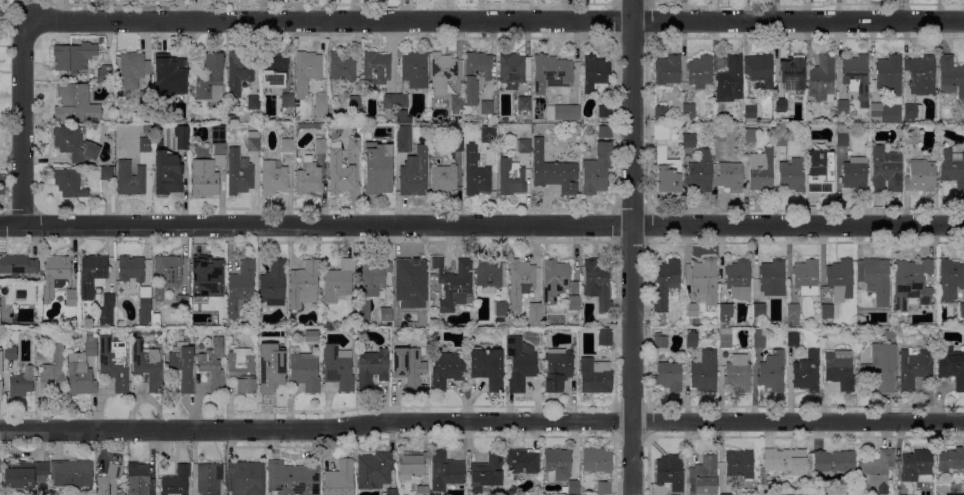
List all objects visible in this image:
building: (5, 10)
road: (495, 20)
building: (73, 56)
building: (341, 67)
building: (376, 68)
building: (133, 69)
building: (274, 69)
building: (414, 69)
building: (668, 69)
building: (514, 70)
building: (306, 71)
building: (700, 71)
building: (760, 71)
building: (239, 72)
building: (443, 72)
building: (103, 73)
building: (551, 73)
building: (792, 74)
building: (855, 74)
building: (889, 74)
building: (921, 74)
building: (476, 75)
building: (596, 75)
building: (177, 76)
building: (951, 76)
building: (211, 79)
building: (822, 79)
building: (731, 80)
building: (389, 100)
building: (401, 100)
building: (145, 101)
building: (286, 101)
building: (253, 103)
building: (456, 104)
building: (75, 105)
building: (320, 105)
building: (781, 105)
building: (487, 107)
building: (842, 107)
building: (523, 108)
building: (605, 111)
building: (661, 111)
building: (688, 111)
building: (750, 111)
building: (566, 112)
building: (912, 112)
building: (885, 113)
building: (400, 116)
building: (184, 118)
road: (22, 123)
building: (661, 131)
building: (605, 132)
building: (325, 133)
building: (719, 134)
building: (909, 134)
building: (750, 135)
building: (842, 135)
building: (488, 136)
building: (182, 137)
building: (403, 139)
building: (781, 139)
building: (689, 141)
building: (253, 142)
building: (74, 144)
building: (219, 144)
building: (356, 144)
building: (457, 144)
building: (145, 145)
building: (524, 145)
building: (287, 146)
building: (321, 146)
building: (389, 146)
building: (952, 167)
building: (597, 169)
building: (821, 169)
building: (667, 170)
building: (886, 170)
building: (553, 171)
building: (761, 171)
building: (239, 172)
building: (414, 172)
building: (476, 172)
building: (701, 172)
building: (106, 173)
building: (167, 173)
building: (340, 174)
building: (855, 174)
building: (730, 176)
building: (792, 176)
building: (921, 176)
building: (274, 177)
building: (511, 177)
building: (309, 178)
building: (130, 179)
building: (376, 179)
building: (443, 179)
building: (204, 181)
building: (68, 184)
road: (482, 226)
road: (631, 247)
building: (17, 265)
building: (131, 269)
building: (167, 274)
building: (55, 275)
building: (92, 275)
building: (488, 275)
building: (433, 276)
building: (373, 277)
building: (806, 277)
building: (773, 278)
building: (739, 279)
building: (877, 279)
building: (204, 280)
building: (555, 280)
building: (840, 280)
building: (950, 280)
building: (339, 281)
building: (705, 281)
building: (520, 282)
building: (666, 282)
building: (273, 284)
building: (304, 284)
building: (454, 284)
building: (912, 284)
building: (240, 286)
building: (409, 286)
building: (597, 286)
building: (574, 288)
building: (72, 298)
building: (182, 302)
building: (574, 303)
building: (144, 305)
building: (107, 309)
building: (759, 310)
building: (961, 310)
building: (725, 311)
building: (827, 311)
building: (690, 312)
building: (500, 313)
building: (259, 314)
building: (386, 314)
building: (534, 314)
building: (793, 314)
building: (435, 331)
building: (890, 335)
building: (313, 336)
building: (605, 337)
building: (725, 338)
building: (692, 339)
building: (759, 339)
building: (793, 340)
building: (660, 341)
building: (262, 343)
building: (10, 353)
building: (42, 353)
building: (114, 361)
building: (519, 362)
building: (181, 364)
building: (147, 365)
building: (213, 366)
building: (487, 366)
building: (951, 366)
building: (338, 367)
building: (881, 367)
building: (409, 368)
building: (82, 369)
building: (372, 369)
building: (446, 369)
building: (558, 369)
building: (839, 369)
building: (913, 369)
building: (242, 370)
building: (53, 371)
building: (704, 371)
building: (305, 372)
building: (772, 372)
building: (807, 372)
building: (738, 373)
building: (273, 376)
building: (595, 376)
building: (669, 376)
building: (1, 378)
building: (21, 383)
road: (481, 422)
building: (950, 459)
building: (597, 460)
building: (522, 461)
building: (786, 461)
building: (833, 462)
building: (739, 463)
building: (411, 464)
building: (557, 464)
building: (0, 466)
building: (917, 466)
building: (375, 470)
building: (445, 471)
building: (670, 472)
building: (877, 472)
building: (70, 473)
building: (23, 474)
building: (486, 474)
building: (703, 476)
building: (246, 477)
building: (209, 478)
building: (293, 478)
building: (138, 479)
building: (339, 479)
building: (109, 480)
building: (176, 482)
building: (574, 487)
building: (604, 488)
building: (422, 490)
building: (510, 490)
building: (392, 492)
building: (725, 494)

